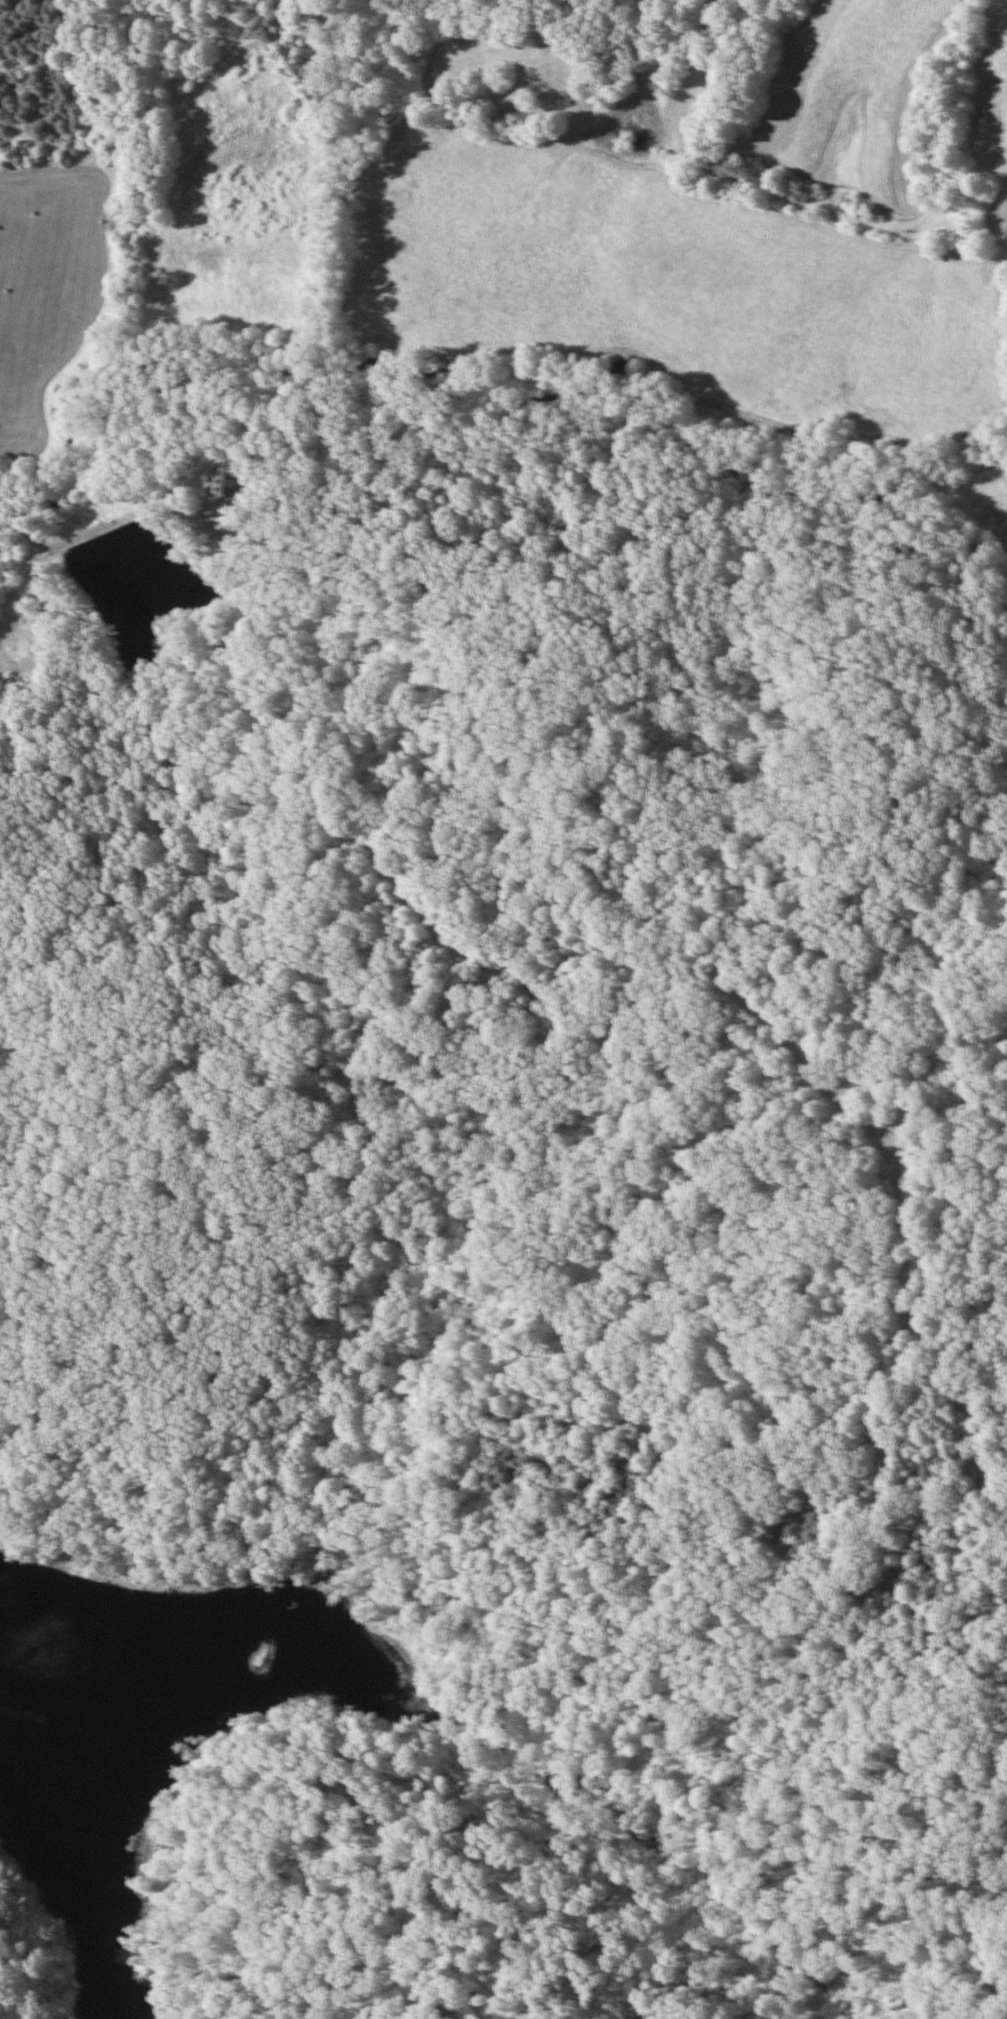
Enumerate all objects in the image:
building: (230, 481)
road: (85, 542)

